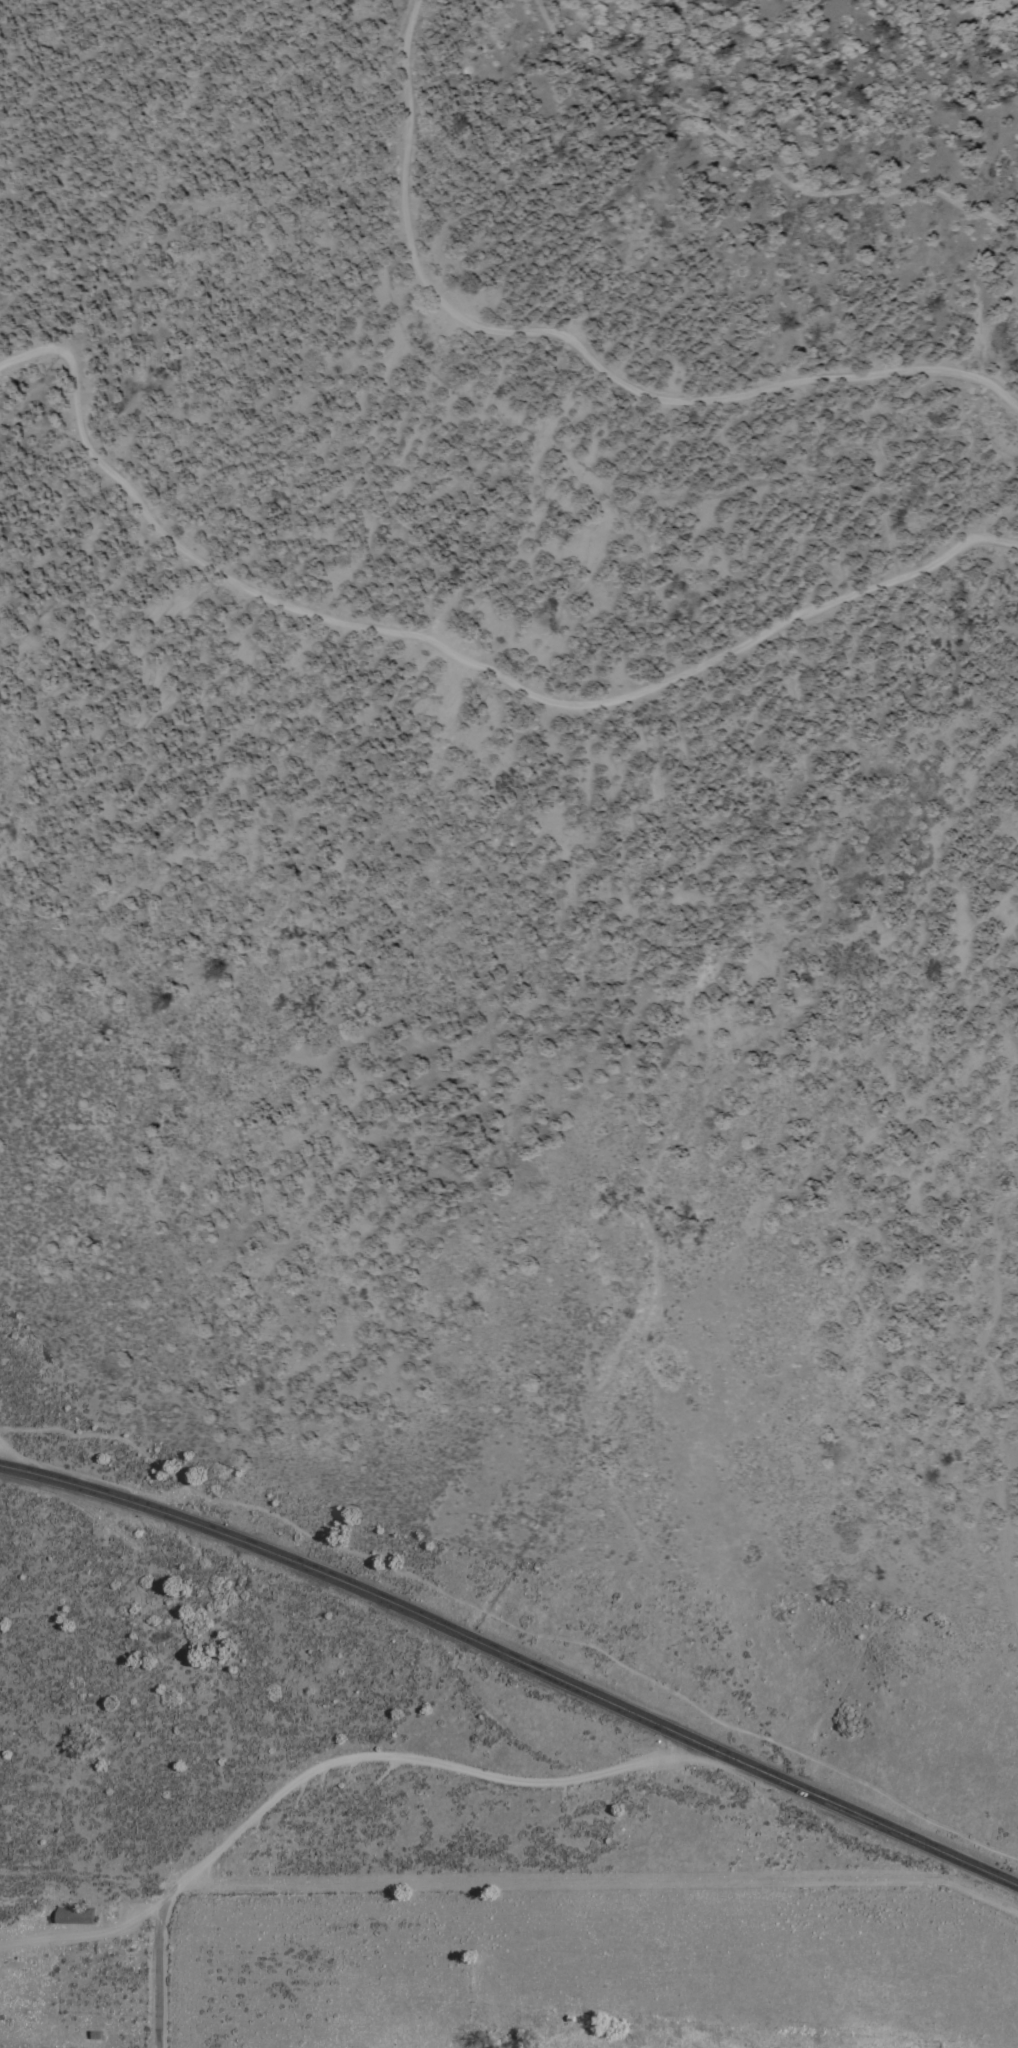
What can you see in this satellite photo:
road: (413, 86)
road: (760, 161)
road: (656, 393)
road: (457, 658)
road: (12, 1458)
road: (510, 1623)
road: (514, 1660)
road: (404, 1757)
building: (73, 1916)
road: (79, 1933)
road: (154, 1976)

